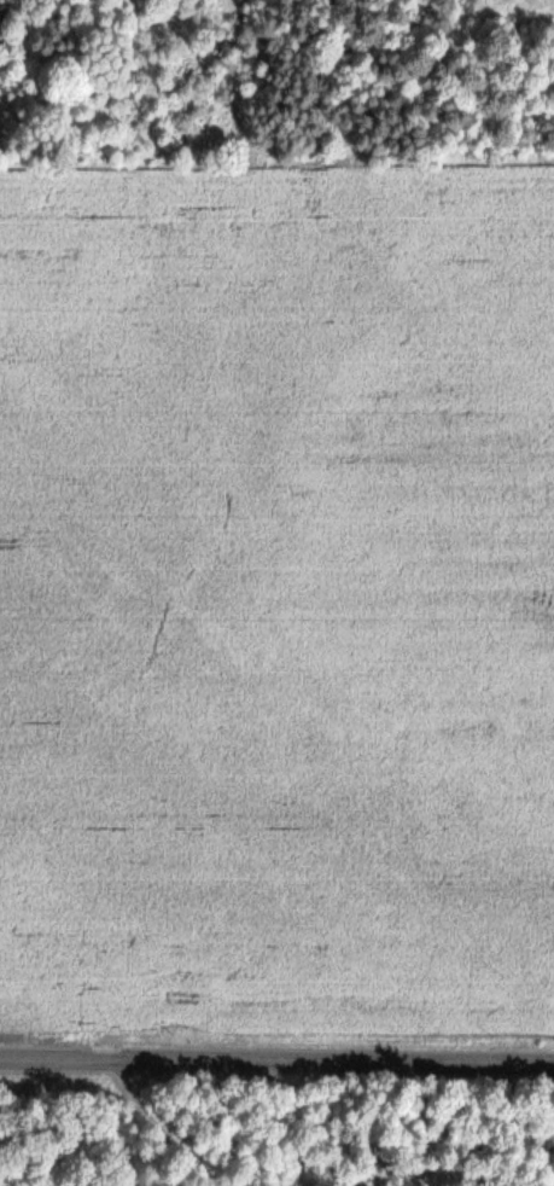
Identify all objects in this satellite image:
road: (276, 1058)
road: (150, 1127)

